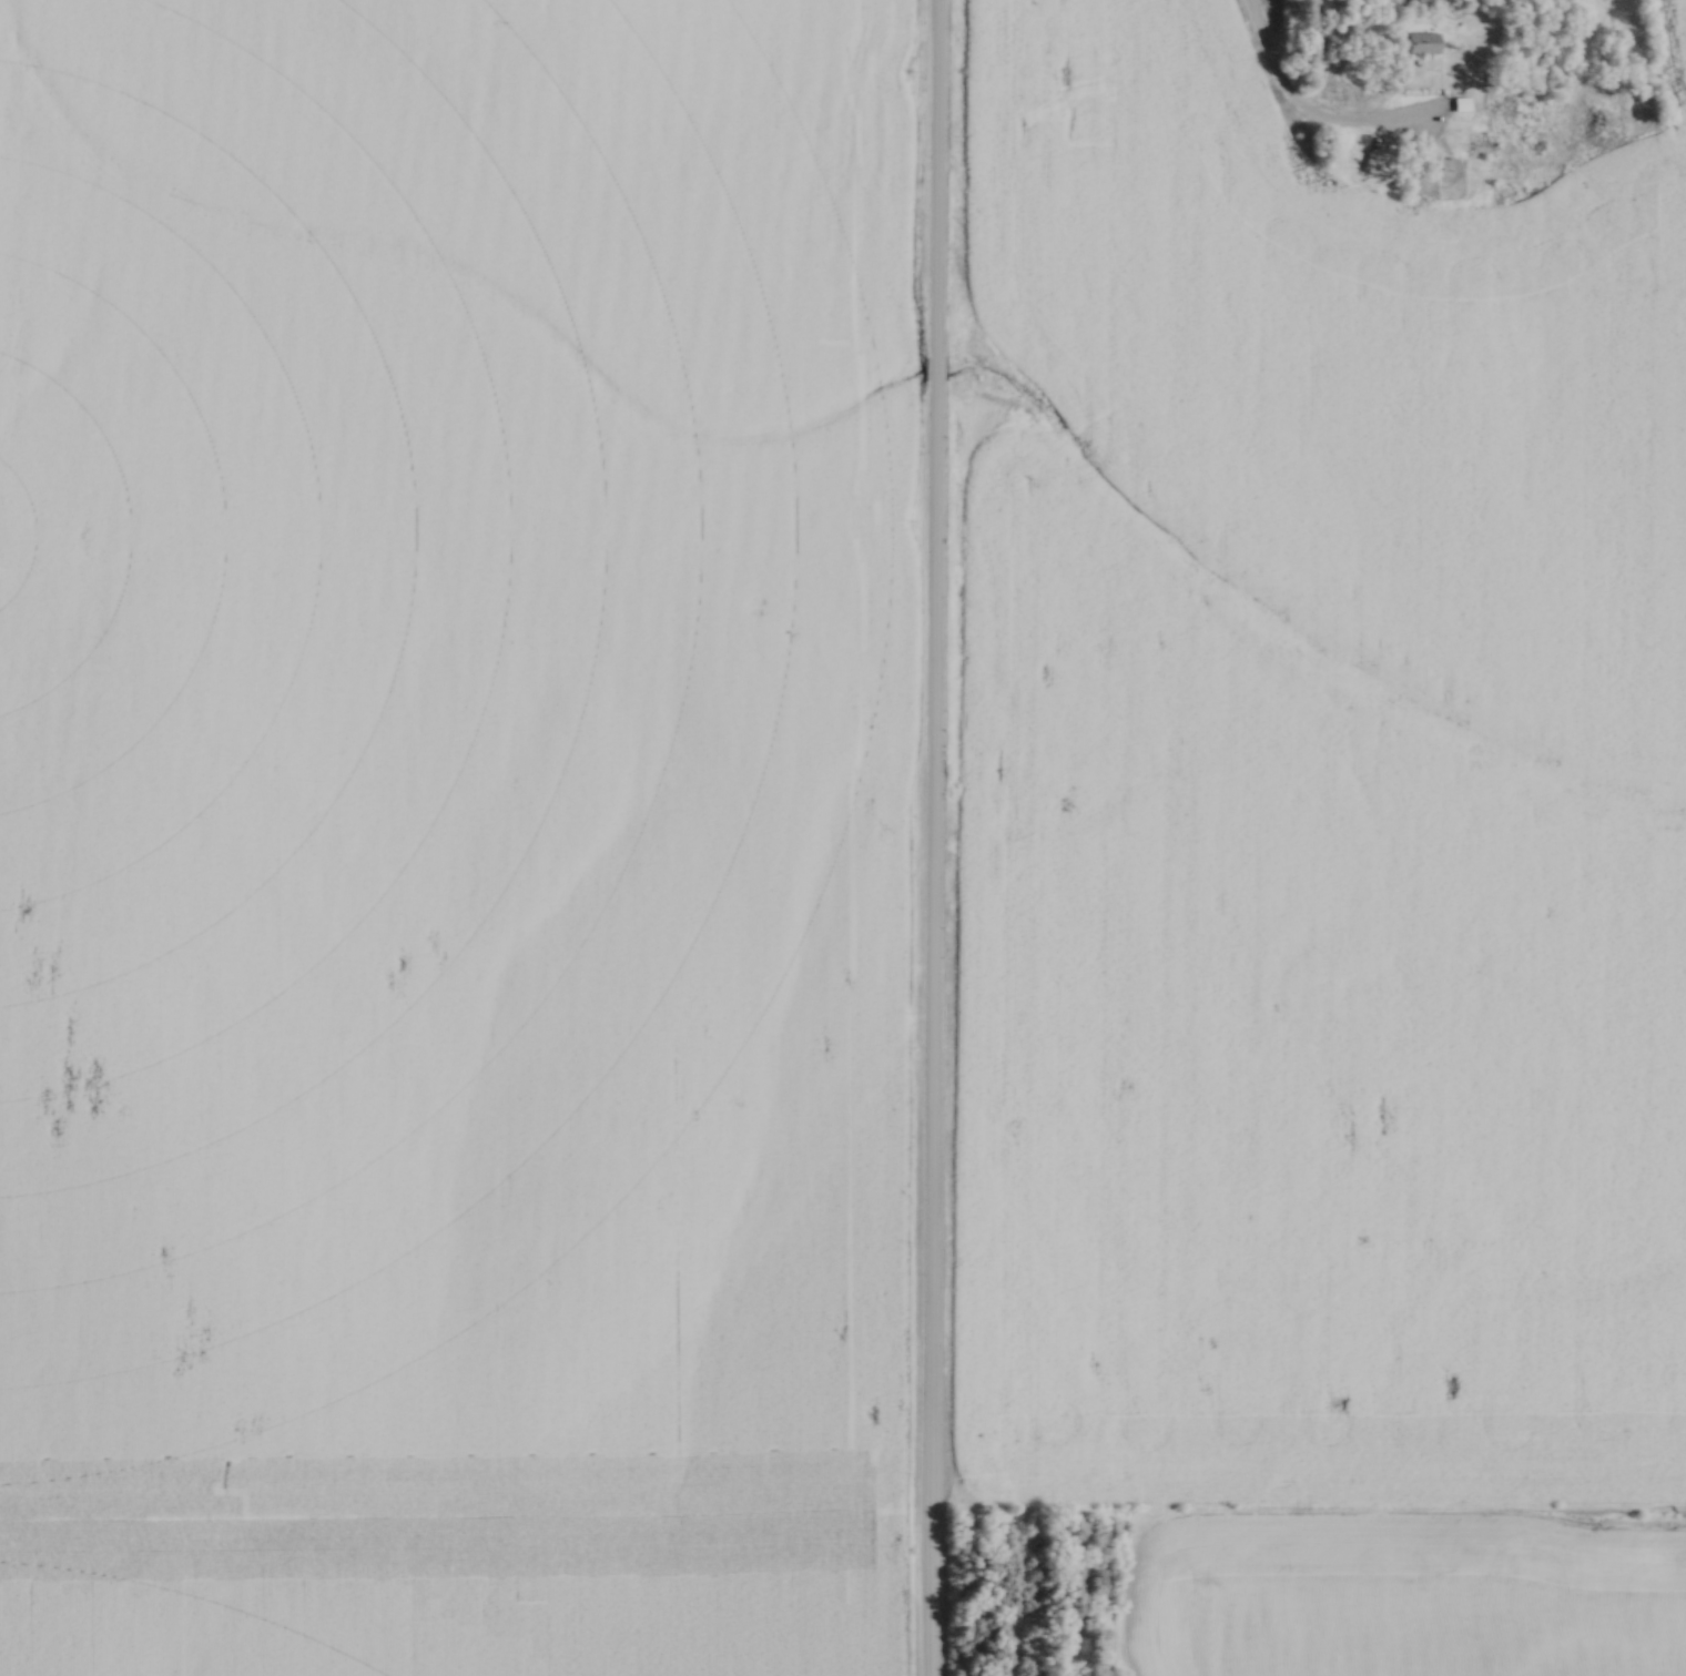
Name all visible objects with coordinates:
building: (1421, 42)
building: (1462, 108)
road: (1296, 109)
building: (1534, 144)
building: (1480, 145)
road: (935, 179)
road: (934, 368)
road: (932, 1028)

